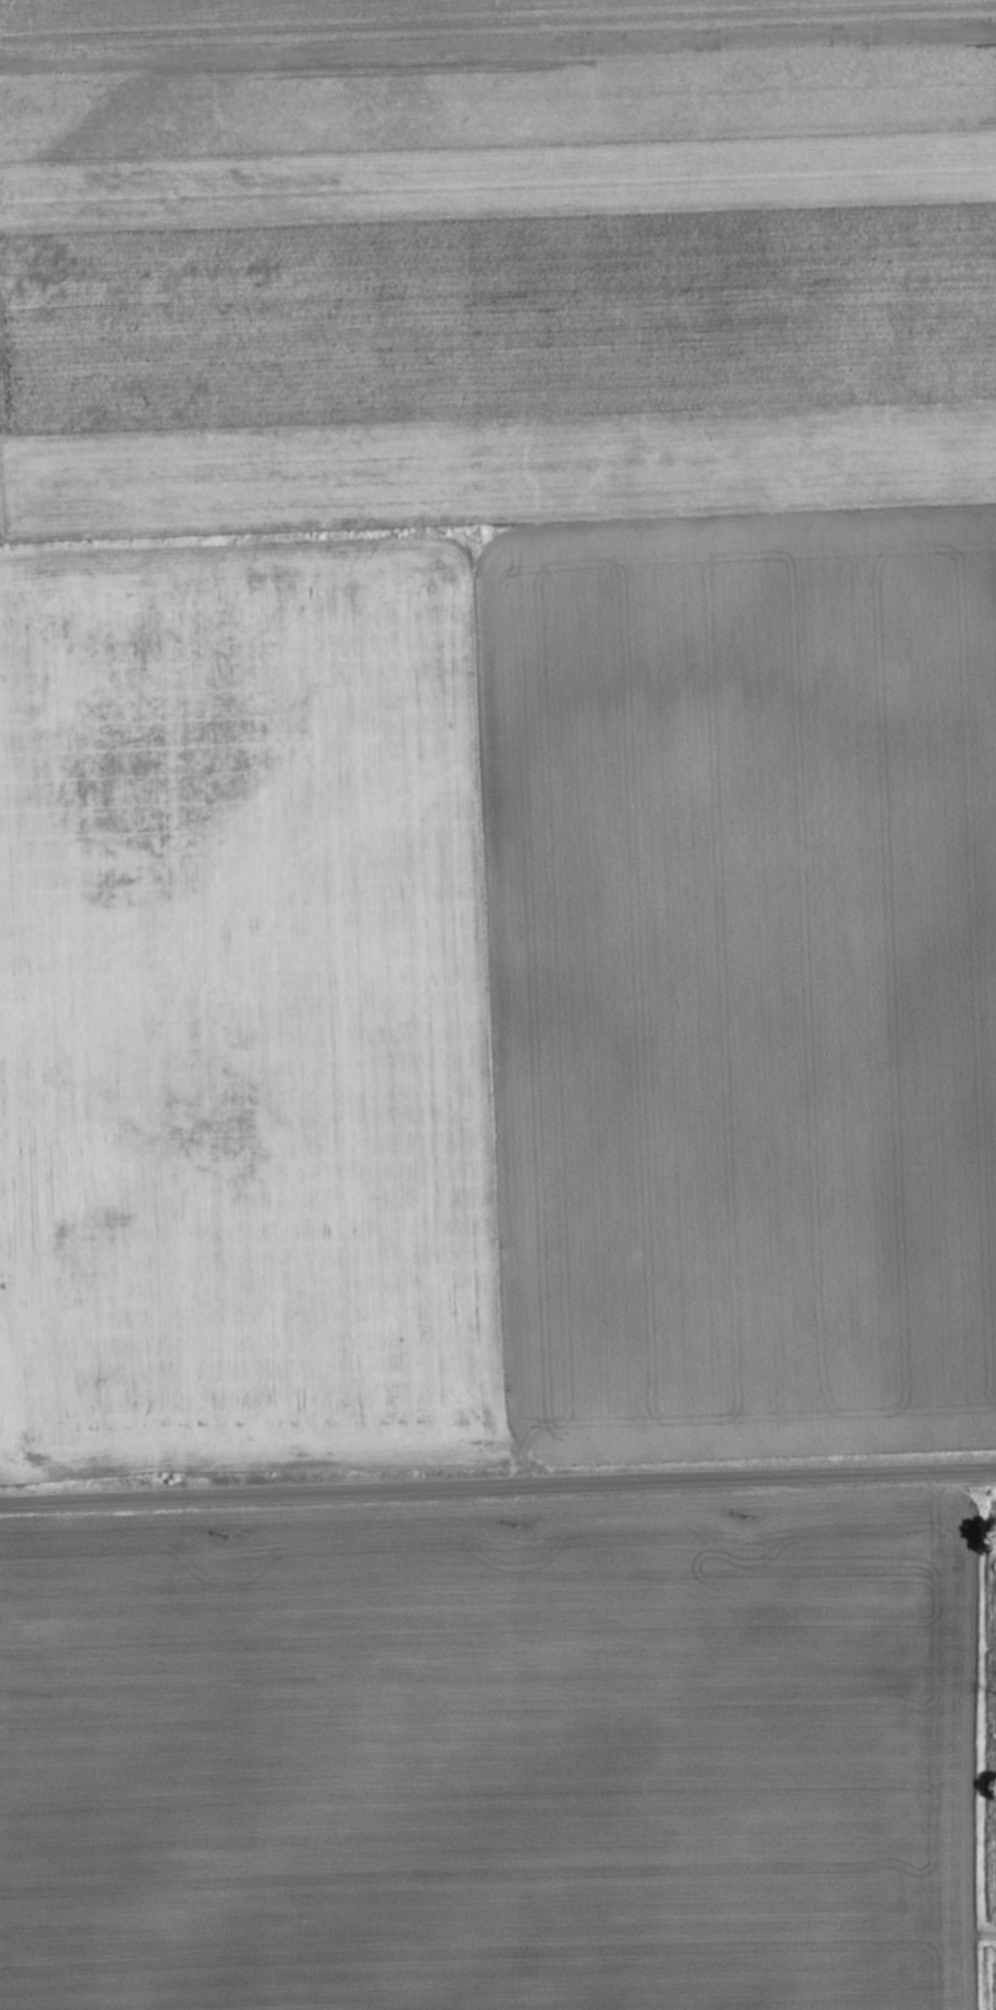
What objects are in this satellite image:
road: (498, 1488)

